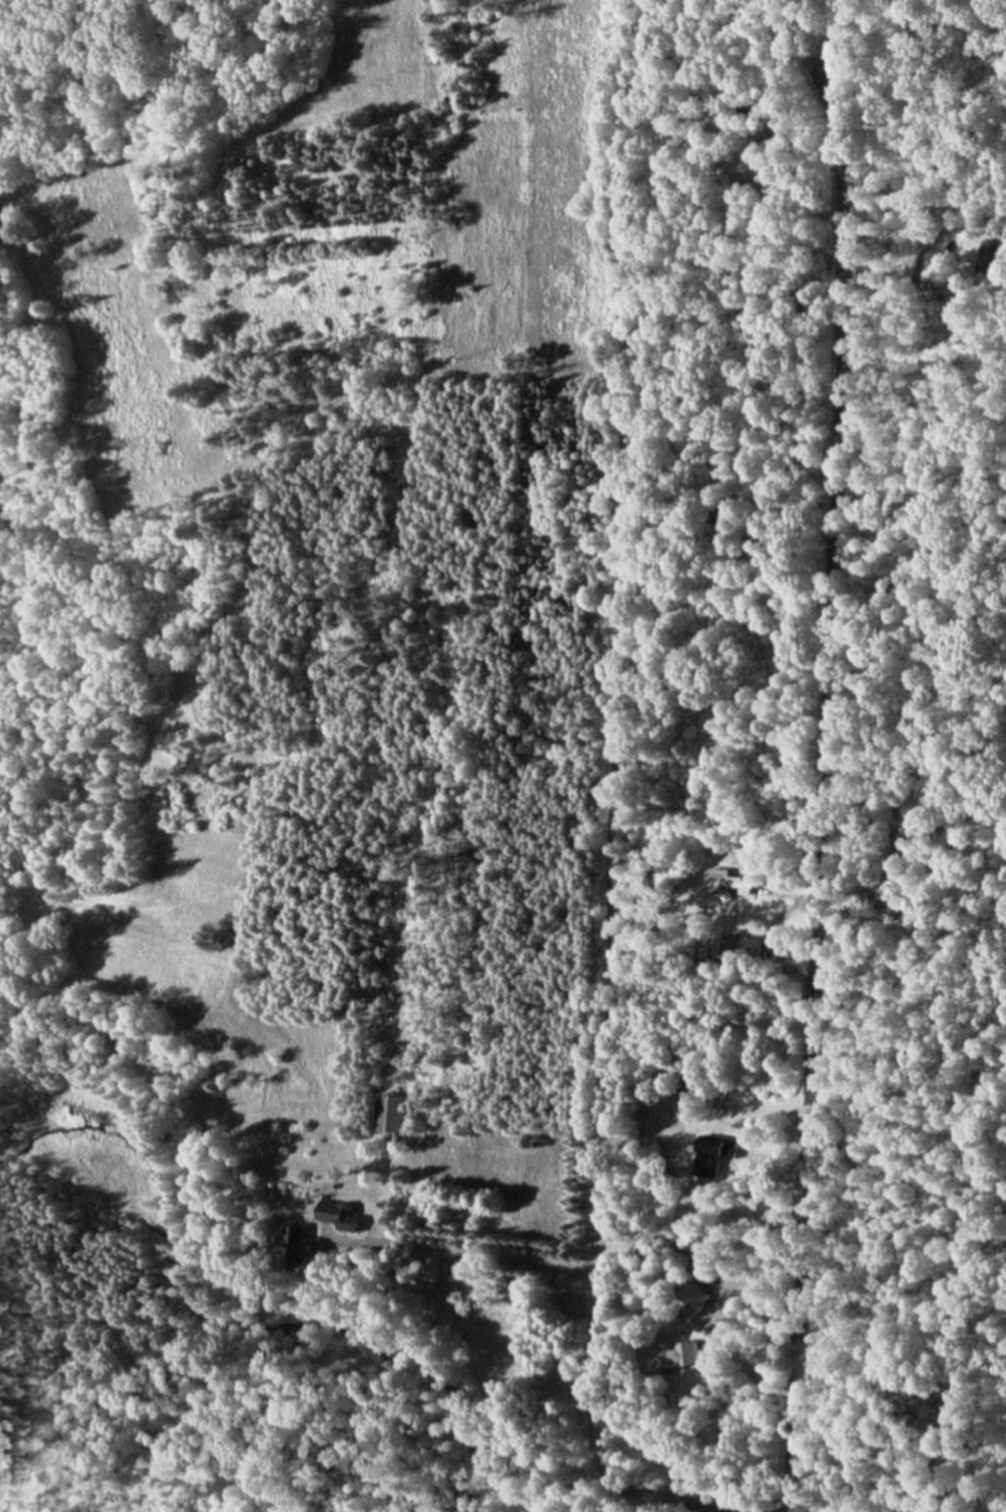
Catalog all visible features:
building: (985, 259)
road: (816, 796)
road: (607, 802)
building: (898, 861)
building: (732, 884)
building: (888, 907)
building: (739, 949)
building: (682, 1097)
building: (390, 1113)
building: (711, 1156)
building: (342, 1216)
building: (300, 1247)
road: (464, 1257)
building: (692, 1307)
building: (679, 1357)

